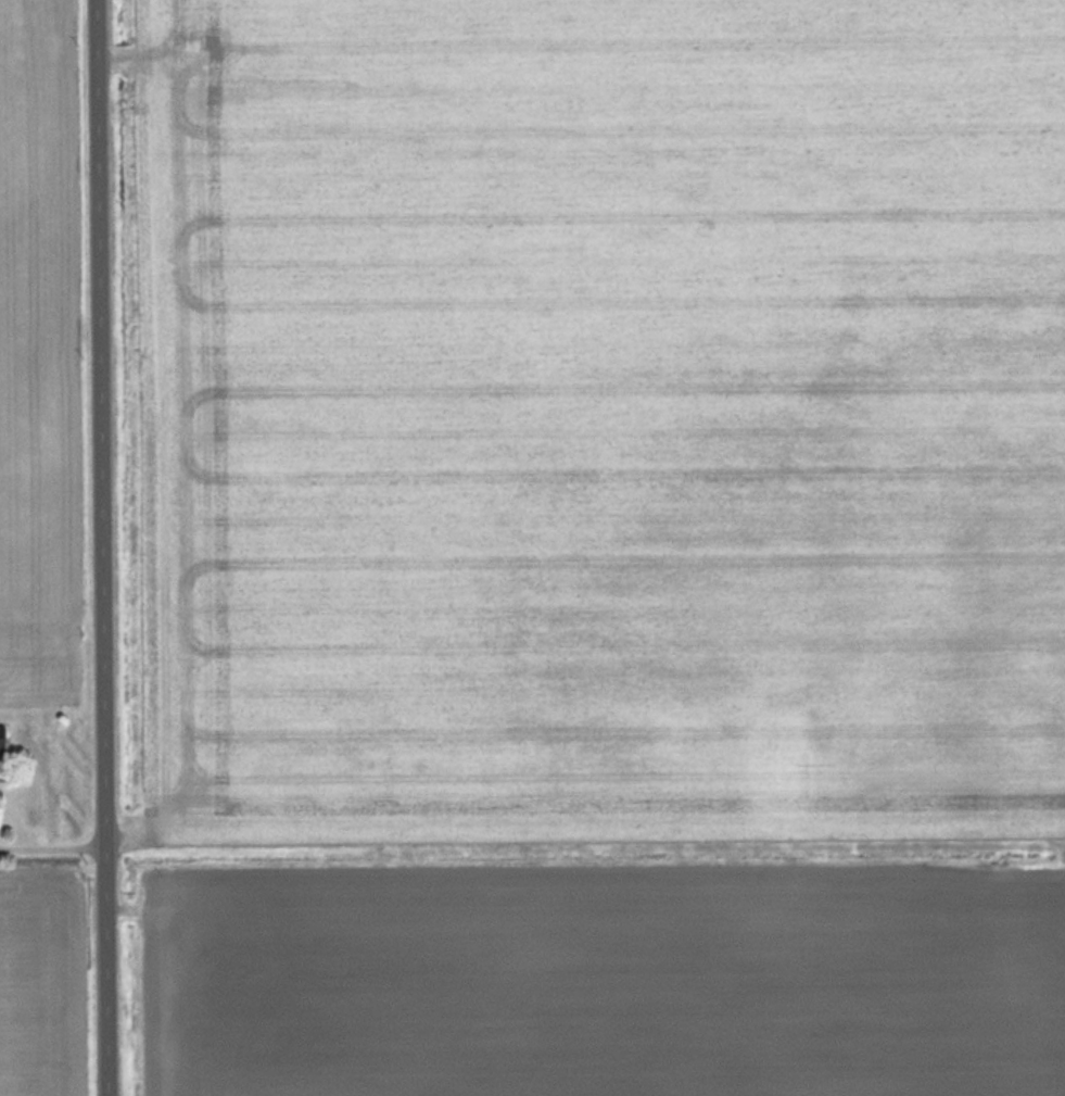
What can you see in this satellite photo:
road: (113, 547)
building: (3, 743)
road: (58, 842)
road: (128, 851)

